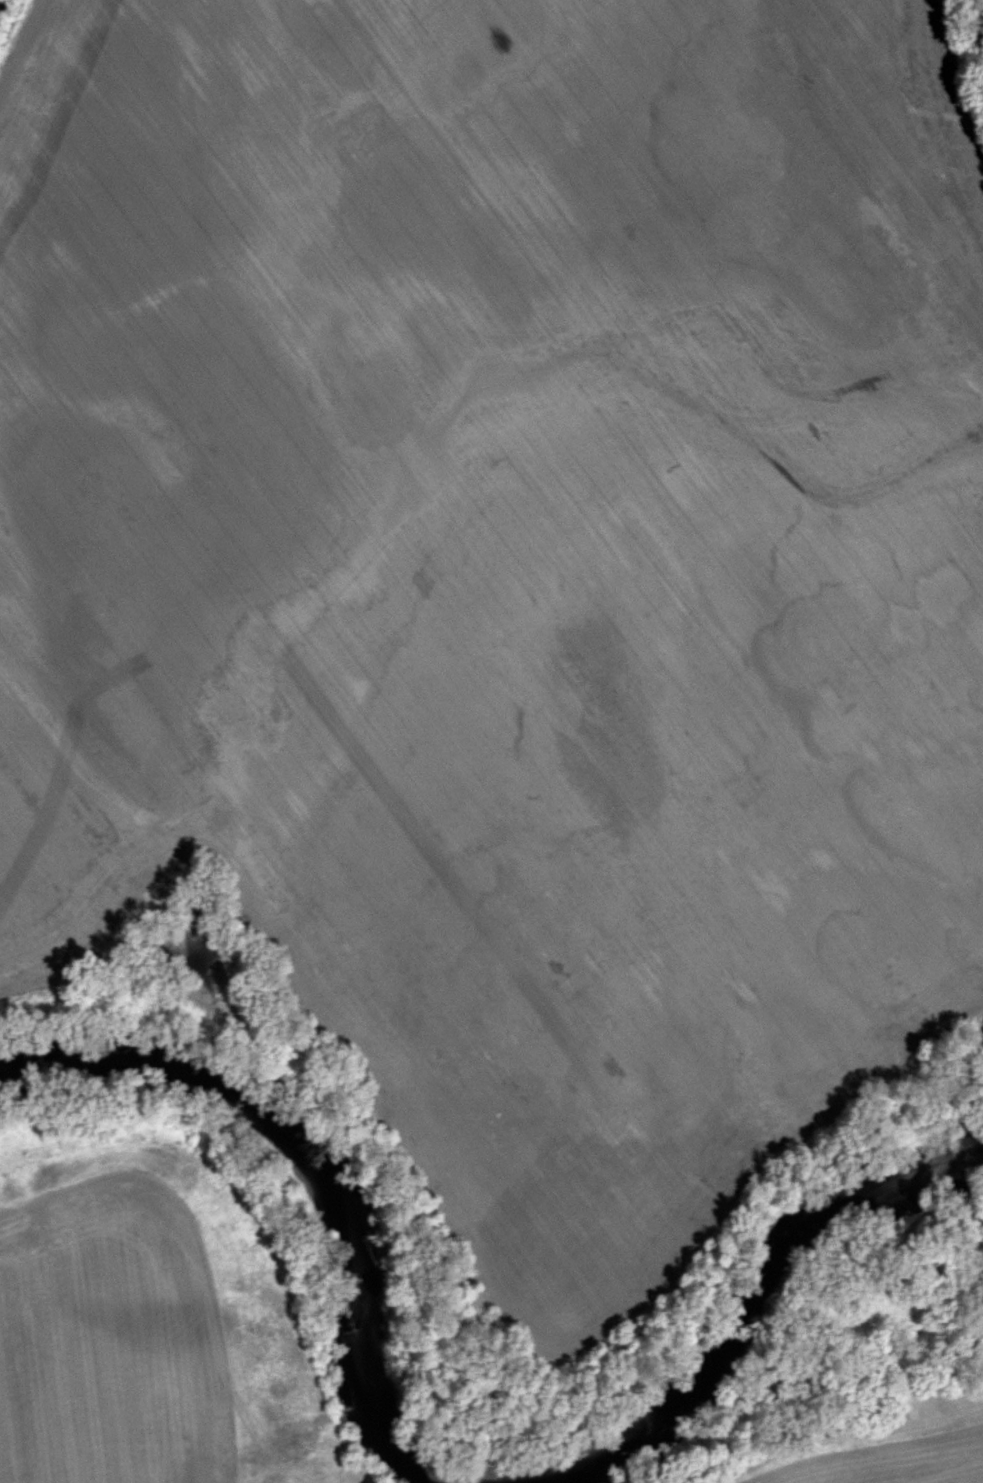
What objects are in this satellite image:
river: (317, 1171)
river: (767, 1304)

